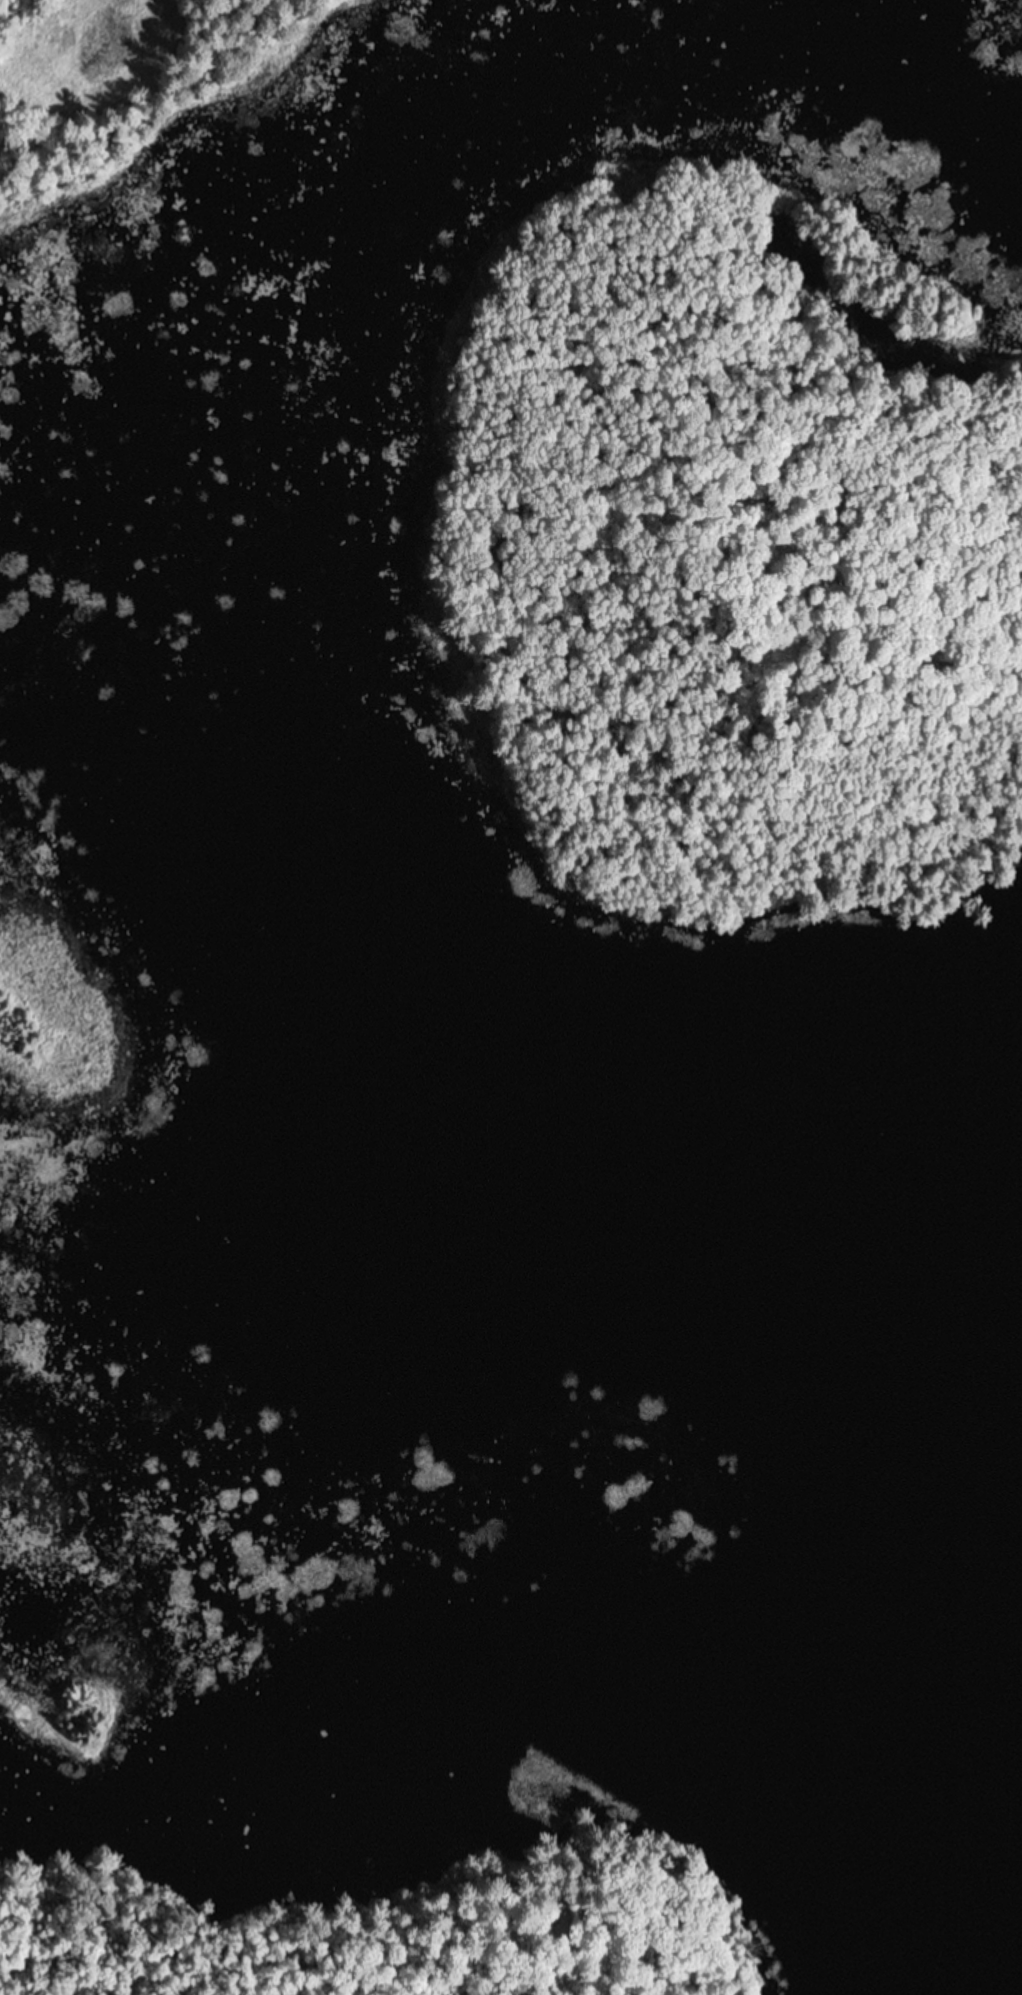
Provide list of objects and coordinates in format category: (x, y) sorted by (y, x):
river: (1017, 1697)

